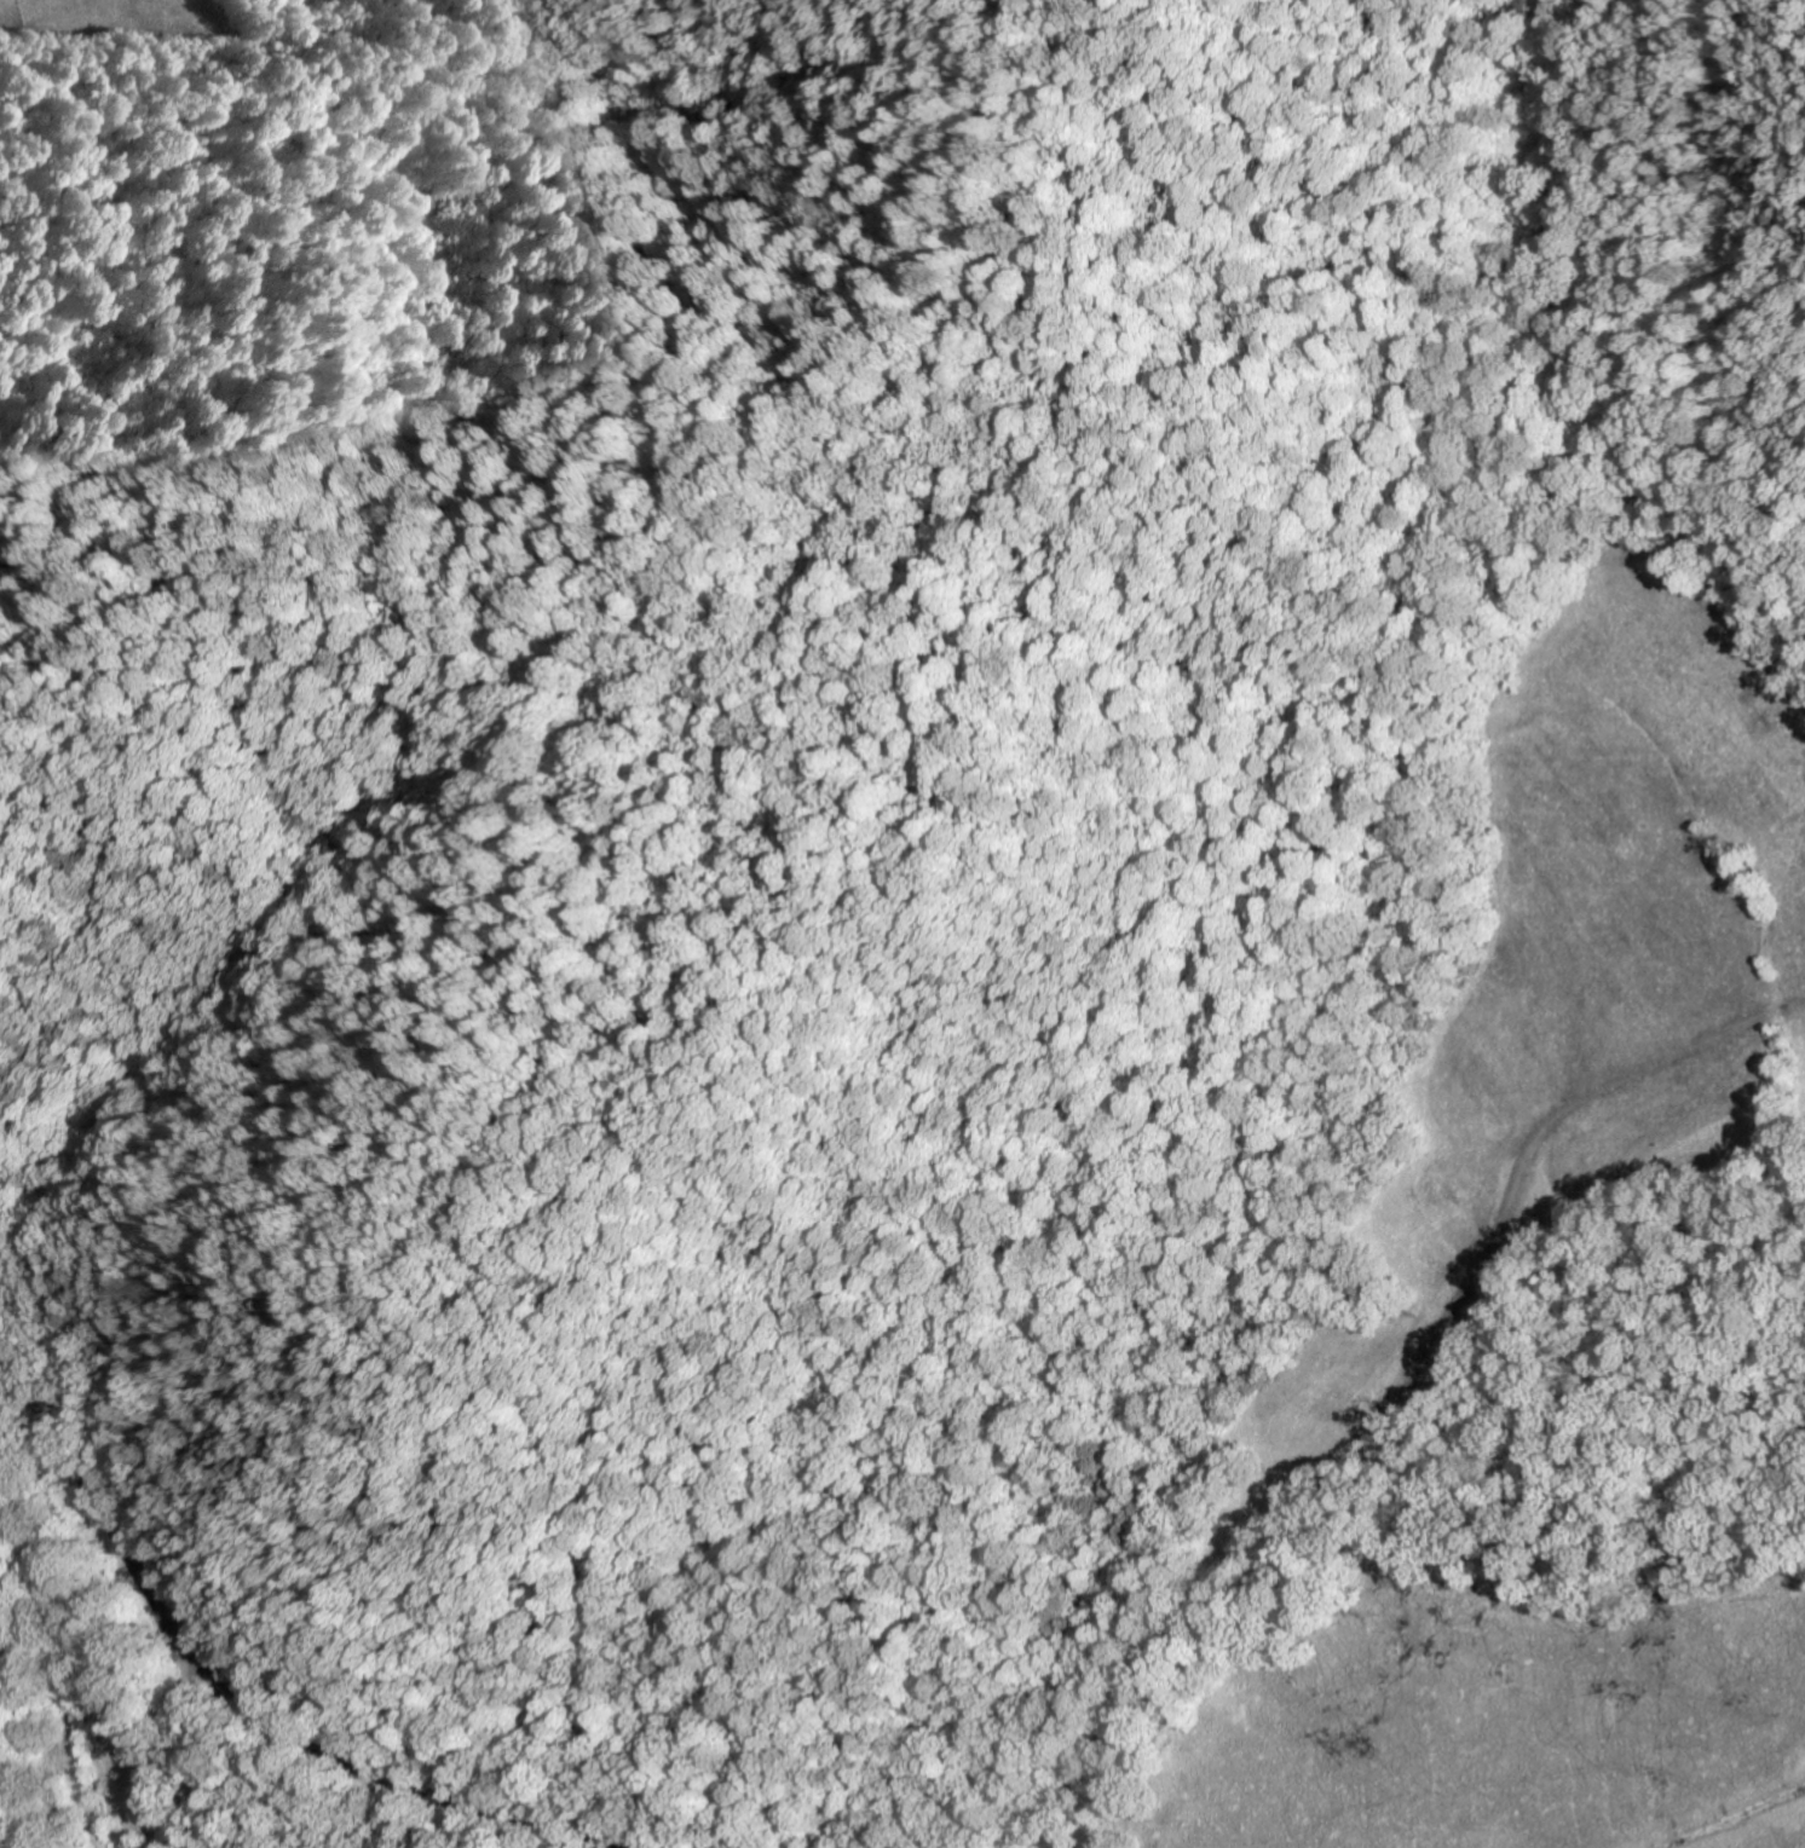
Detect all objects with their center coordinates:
road: (247, 1709)
road: (150, 1754)

